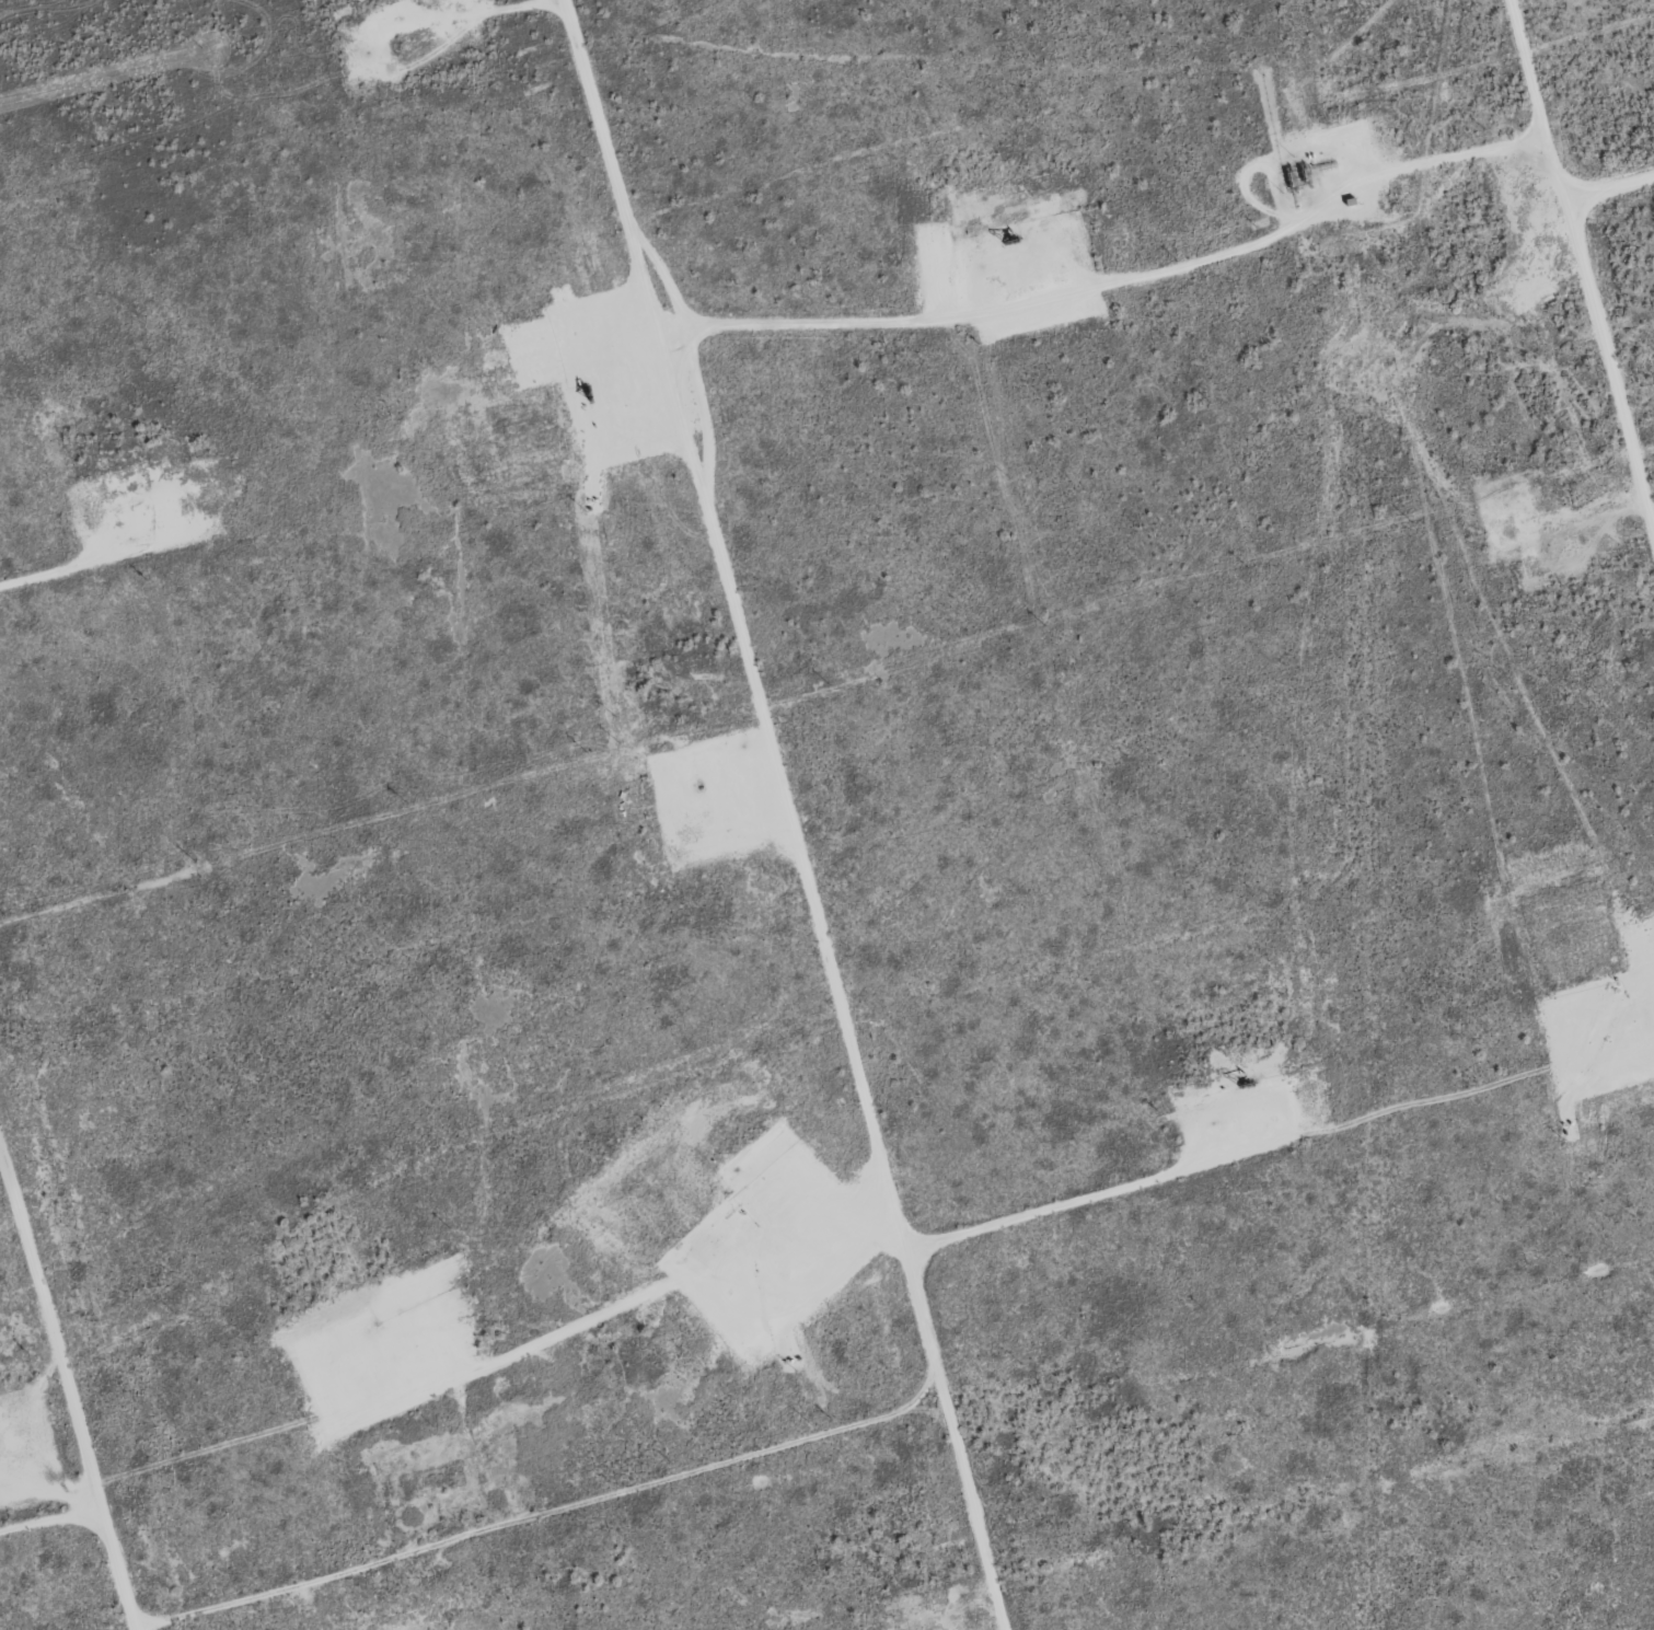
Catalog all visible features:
road: (1585, 257)
road: (787, 813)
road: (67, 1401)

